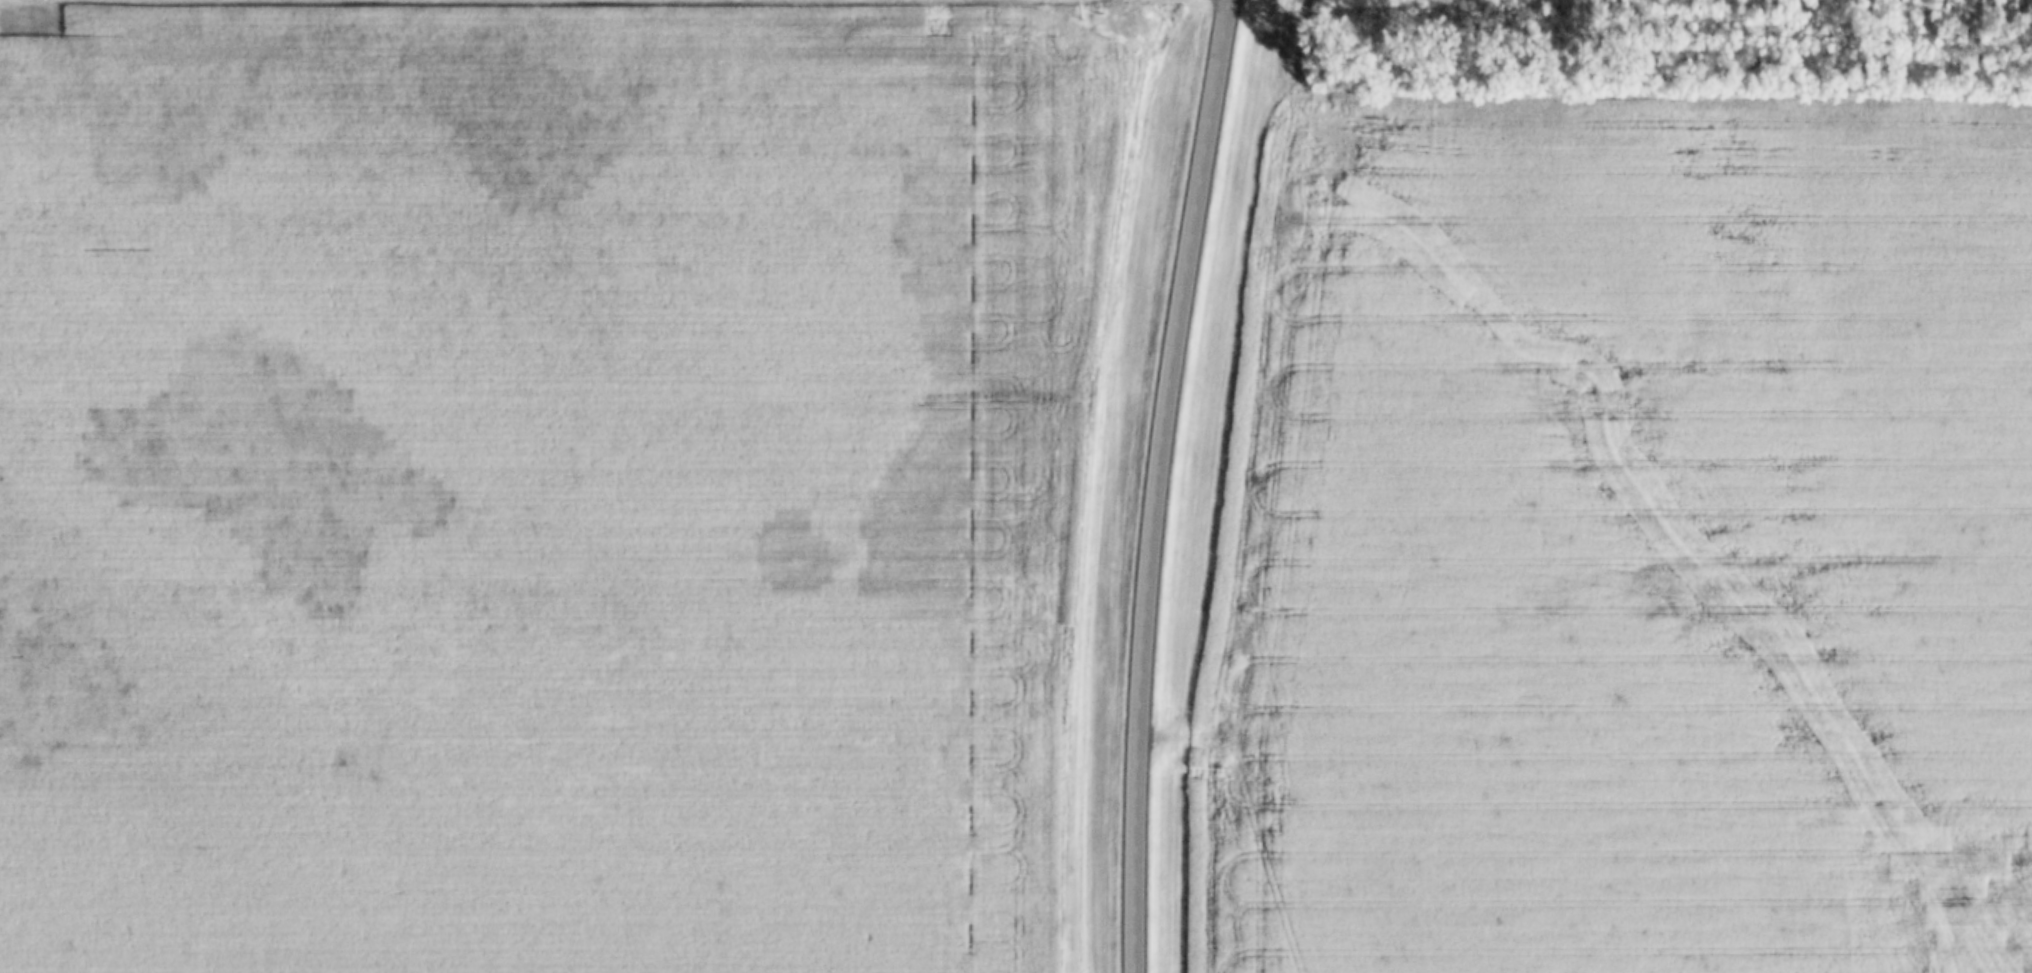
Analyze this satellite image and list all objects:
road: (1199, 214)
road: (1143, 700)

